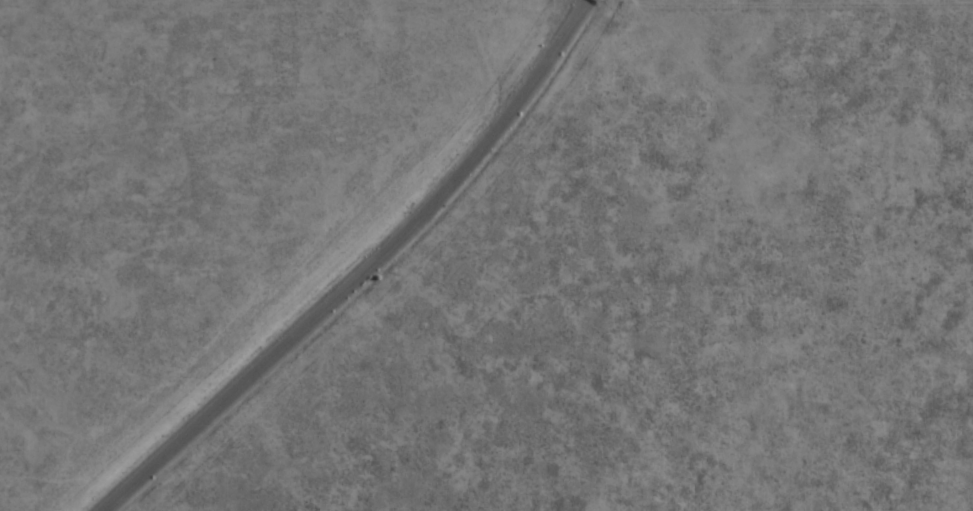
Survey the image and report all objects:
road: (368, 270)

